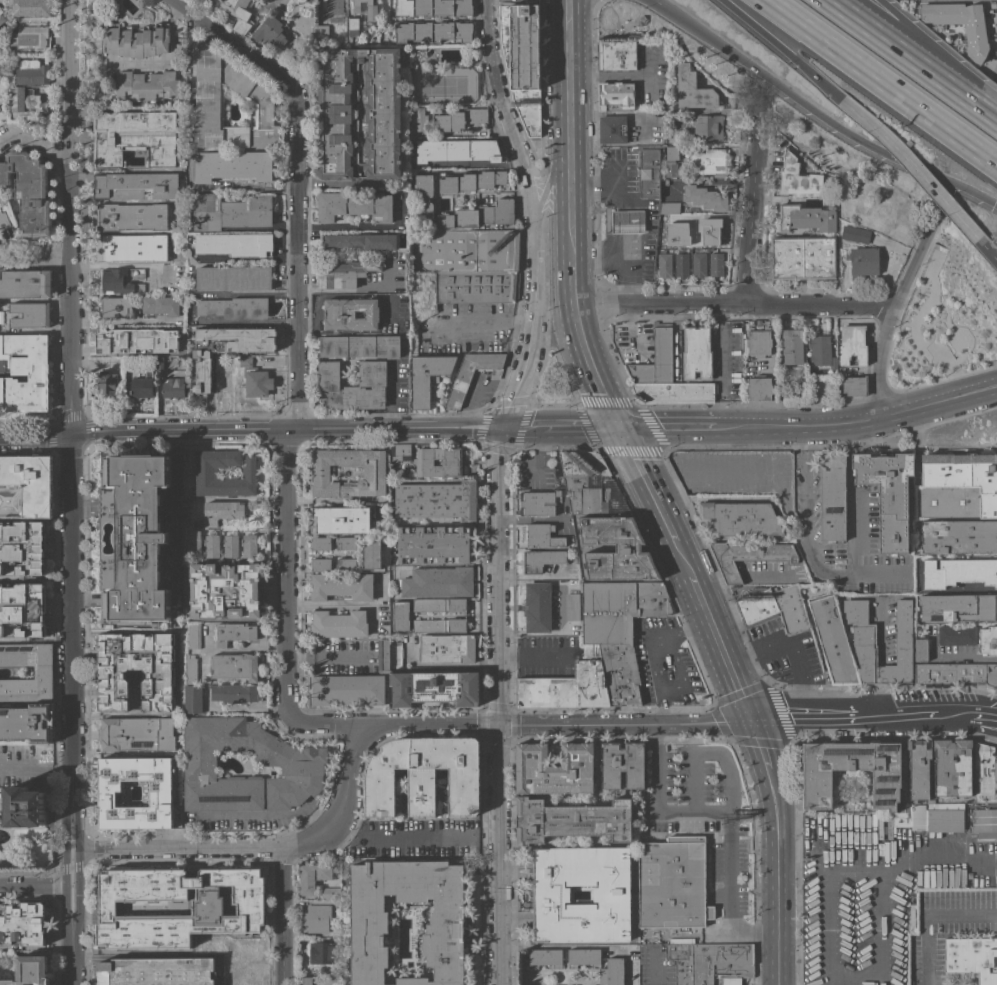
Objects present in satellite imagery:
road: (657, 3)
building: (30, 7)
building: (433, 7)
building: (365, 9)
building: (238, 13)
building: (1, 16)
building: (351, 26)
building: (270, 30)
building: (432, 31)
building: (975, 33)
building: (322, 34)
building: (30, 36)
building: (138, 40)
road: (172, 47)
road: (780, 49)
road: (931, 49)
road: (904, 53)
building: (618, 55)
building: (523, 60)
building: (33, 74)
road: (608, 75)
road: (881, 83)
building: (148, 85)
park: (442, 85)
road: (568, 87)
building: (692, 89)
building: (617, 95)
building: (258, 96)
building: (1, 100)
building: (23, 102)
building: (358, 113)
road: (987, 113)
road: (822, 118)
building: (460, 119)
building: (417, 122)
building: (707, 127)
building: (612, 129)
building: (135, 137)
road: (36, 139)
building: (457, 150)
building: (672, 162)
building: (709, 162)
building: (233, 165)
road: (911, 165)
road: (553, 169)
building: (648, 169)
road: (608, 173)
road: (586, 174)
building: (797, 177)
building: (471, 181)
building: (665, 182)
road: (328, 184)
building: (136, 185)
road: (615, 185)
building: (866, 185)
building: (29, 191)
road: (755, 196)
building: (705, 197)
traffic signals: (993, 203)
road: (624, 204)
building: (354, 205)
building: (669, 207)
building: (458, 210)
building: (231, 211)
road: (532, 212)
building: (881, 214)
building: (132, 216)
road: (69, 217)
road: (571, 217)
building: (627, 217)
building: (806, 217)
building: (3, 219)
building: (670, 220)
road: (357, 225)
road: (609, 230)
building: (700, 231)
building: (676, 233)
building: (855, 234)
building: (361, 240)
building: (236, 244)
building: (131, 247)
building: (466, 250)
road: (986, 250)
road: (39, 253)
road: (54, 255)
road: (622, 255)
building: (803, 257)
road: (587, 258)
road: (243, 259)
building: (862, 262)
building: (664, 264)
building: (681, 264)
building: (699, 264)
building: (716, 264)
road: (628, 269)
building: (346, 273)
building: (234, 278)
building: (123, 280)
road: (572, 281)
building: (25, 283)
building: (476, 285)
road: (349, 289)
road: (629, 292)
road: (896, 300)
road: (733, 302)
building: (4, 304)
building: (161, 305)
building: (115, 306)
building: (234, 307)
building: (350, 314)
building: (29, 315)
road: (84, 322)
road: (296, 330)
building: (135, 340)
building: (759, 343)
building: (853, 344)
building: (791, 345)
building: (359, 346)
building: (227, 348)
building: (821, 350)
building: (697, 353)
building: (656, 359)
building: (245, 360)
building: (161, 362)
building: (172, 362)
road: (590, 366)
building: (25, 373)
building: (472, 374)
building: (426, 378)
building: (434, 379)
building: (257, 381)
building: (107, 385)
building: (174, 385)
building: (855, 385)
building: (352, 386)
building: (142, 387)
building: (759, 388)
building: (673, 393)
road: (391, 395)
road: (859, 421)
road: (669, 426)
road: (286, 427)
traffic signals: (502, 427)
road: (522, 427)
road: (581, 427)
traffic signals: (620, 427)
traffic signals: (72, 434)
road: (36, 437)
road: (917, 437)
road: (831, 445)
road: (928, 447)
building: (399, 452)
building: (451, 463)
building: (206, 472)
building: (374, 472)
building: (30, 482)
building: (588, 482)
road: (648, 483)
building: (957, 486)
building: (832, 495)
building: (888, 495)
building: (437, 499)
building: (538, 502)
road: (175, 507)
building: (222, 511)
building: (341, 519)
building: (739, 519)
building: (543, 535)
building: (959, 536)
building: (133, 537)
building: (571, 541)
building: (192, 542)
building: (321, 543)
building: (346, 543)
building: (433, 544)
road: (807, 544)
building: (212, 545)
building: (230, 545)
building: (22, 546)
building: (250, 546)
building: (628, 547)
building: (371, 553)
road: (683, 557)
building: (748, 557)
building: (541, 560)
building: (321, 564)
building: (346, 564)
building: (958, 572)
building: (438, 582)
building: (342, 585)
building: (225, 590)
building: (439, 605)
building: (572, 606)
building: (537, 607)
building: (774, 607)
building: (959, 607)
building: (23, 608)
building: (401, 615)
road: (72, 617)
building: (339, 624)
building: (439, 625)
building: (8, 629)
building: (620, 630)
road: (884, 631)
building: (234, 633)
building: (194, 634)
building: (957, 635)
building: (864, 638)
building: (833, 640)
building: (988, 640)
parking lot: (771, 641)
building: (447, 648)
road: (721, 648)
road: (649, 650)
building: (921, 650)
road: (790, 651)
road: (533, 652)
building: (395, 654)
parking lot: (788, 654)
road: (325, 655)
building: (383, 655)
road: (970, 655)
building: (235, 666)
building: (191, 667)
road: (680, 670)
building: (43, 671)
parking lot: (676, 671)
building: (109, 672)
building: (949, 673)
building: (991, 674)
road: (883, 676)
building: (566, 687)
building: (435, 688)
building: (348, 689)
building: (234, 692)
parking lot: (932, 696)
building: (193, 699)
road: (883, 702)
road: (497, 705)
road: (917, 714)
road: (983, 715)
road: (840, 720)
building: (27, 722)
traffic signals: (752, 722)
road: (783, 722)
road: (557, 724)
traffic signals: (497, 725)
road: (327, 727)
building: (136, 733)
road: (761, 745)
building: (291, 764)
road: (35, 765)
building: (622, 765)
building: (952, 767)
building: (555, 769)
building: (917, 769)
building: (985, 773)
building: (424, 776)
building: (887, 776)
building: (160, 795)
building: (26, 807)
road: (266, 811)
road: (727, 813)
building: (910, 815)
building: (571, 820)
building: (944, 820)
road: (63, 822)
road: (78, 822)
building: (984, 822)
road: (400, 837)
road: (71, 846)
road: (259, 846)
road: (807, 852)
road: (936, 858)
road: (77, 865)
road: (64, 866)
road: (78, 866)
road: (71, 867)
road: (853, 867)
road: (64, 868)
building: (312, 876)
road: (780, 877)
building: (673, 882)
road: (31, 886)
road: (70, 886)
building: (330, 893)
building: (551, 894)
road: (730, 897)
road: (64, 905)
road: (77, 905)
building: (529, 905)
building: (207, 907)
road: (926, 913)
road: (286, 915)
building: (319, 919)
building: (23, 923)
building: (407, 923)
road: (879, 924)
road: (828, 949)
building: (244, 950)
building: (323, 950)
road: (70, 954)
building: (545, 957)
building: (583, 957)
building: (972, 957)
building: (712, 963)
building: (30, 971)
building: (157, 971)
building: (612, 971)
road: (655, 978)
building: (306, 980)
building: (247, 982)

